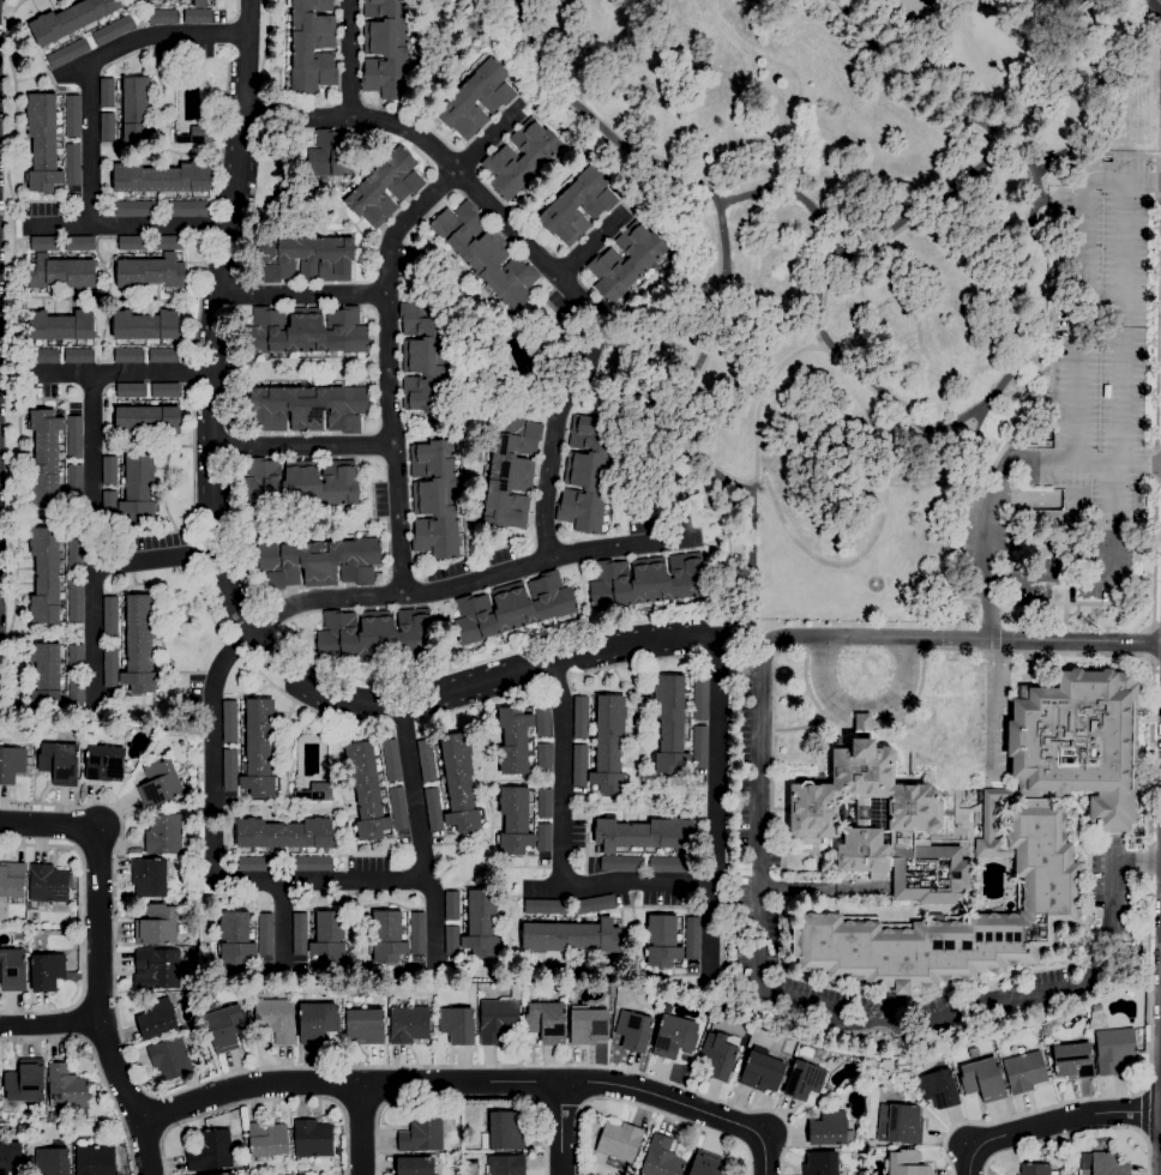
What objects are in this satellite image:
road: (1157, 2)
building: (199, 4)
building: (162, 17)
building: (197, 17)
building: (71, 19)
building: (113, 31)
road: (1160, 35)
building: (312, 47)
building: (385, 49)
building: (67, 54)
road: (349, 56)
road: (89, 62)
building: (107, 92)
building: (476, 100)
building: (136, 109)
building: (72, 116)
building: (107, 127)
building: (195, 137)
road: (487, 139)
building: (42, 144)
building: (331, 156)
building: (519, 159)
building: (72, 164)
road: (1035, 175)
building: (161, 179)
building: (384, 188)
building: (578, 206)
road: (788, 207)
building: (136, 209)
building: (186, 209)
road: (127, 225)
building: (44, 243)
building: (132, 243)
building: (166, 243)
building: (79, 245)
road: (595, 248)
road: (537, 251)
road: (850, 252)
building: (485, 255)
park: (848, 257)
building: (305, 258)
building: (625, 261)
building: (150, 272)
building: (60, 273)
road: (1077, 283)
road: (300, 294)
road: (729, 297)
road: (1018, 302)
road: (10, 319)
building: (60, 326)
building: (144, 326)
building: (306, 331)
building: (43, 343)
building: (43, 356)
building: (78, 356)
building: (127, 356)
building: (162, 356)
building: (423, 356)
road: (386, 369)
road: (122, 374)
building: (525, 375)
building: (130, 391)
building: (164, 391)
building: (131, 403)
building: (162, 403)
building: (308, 408)
road: (768, 408)
road: (1156, 410)
building: (148, 422)
building: (74, 436)
parking lot: (1082, 439)
road: (1121, 442)
road: (301, 446)
building: (44, 457)
road: (1025, 460)
building: (109, 471)
building: (510, 471)
building: (586, 472)
building: (300, 483)
building: (74, 486)
building: (138, 489)
building: (434, 500)
building: (109, 506)
road: (91, 543)
building: (74, 550)
road: (154, 560)
building: (319, 562)
road: (221, 568)
building: (44, 576)
road: (469, 578)
building: (648, 582)
building: (74, 601)
building: (512, 608)
road: (989, 609)
building: (110, 619)
road: (729, 619)
building: (375, 634)
road: (961, 638)
building: (140, 644)
road: (1150, 644)
road: (1133, 656)
building: (74, 658)
building: (110, 668)
building: (44, 676)
building: (76, 694)
building: (699, 699)
road: (862, 716)
building: (580, 717)
building: (229, 722)
building: (862, 722)
building: (542, 723)
building: (670, 724)
building: (116, 734)
building: (513, 740)
building: (608, 745)
building: (698, 747)
building: (259, 749)
building: (543, 757)
building: (390, 760)
building: (426, 761)
building: (59, 764)
building: (103, 764)
road: (760, 764)
building: (12, 765)
building: (579, 766)
building: (229, 771)
building: (458, 783)
building: (162, 785)
building: (366, 791)
building: (315, 793)
building: (545, 803)
building: (397, 809)
building: (433, 809)
building: (513, 821)
road: (48, 825)
building: (283, 834)
building: (644, 834)
building: (167, 836)
building: (543, 838)
building: (973, 840)
building: (621, 863)
building: (255, 864)
building: (309, 864)
building: (669, 864)
building: (149, 878)
building: (12, 880)
road: (275, 881)
road: (643, 881)
building: (47, 884)
road: (800, 888)
road: (543, 890)
building: (451, 905)
building: (594, 905)
building: (28, 906)
building: (545, 906)
road: (433, 920)
road: (282, 924)
building: (481, 924)
building: (155, 926)
road: (82, 927)
road: (709, 928)
building: (416, 934)
building: (265, 935)
building: (300, 935)
building: (570, 936)
building: (235, 938)
building: (329, 938)
building: (387, 938)
building: (692, 939)
building: (452, 941)
building: (661, 941)
building: (12, 970)
building: (156, 970)
building: (47, 971)
building: (380, 990)
road: (100, 1005)
building: (246, 1007)
building: (251, 1007)
road: (961, 1010)
building: (499, 1018)
building: (157, 1019)
building: (276, 1019)
building: (546, 1022)
building: (317, 1023)
road: (50, 1024)
building: (408, 1025)
building: (457, 1025)
building: (365, 1026)
building: (588, 1026)
building: (225, 1028)
building: (1046, 1030)
building: (633, 1031)
building: (674, 1037)
building: (1117, 1052)
building: (973, 1053)
building: (718, 1055)
building: (170, 1059)
building: (1073, 1061)
road: (97, 1066)
building: (736, 1066)
road: (290, 1067)
building: (1024, 1072)
building: (760, 1073)
building: (983, 1079)
building: (804, 1080)
building: (25, 1083)
road: (474, 1083)
building: (66, 1089)
building: (939, 1089)
road: (461, 1098)
road: (264, 1101)
road: (644, 1109)
road: (160, 1114)
road: (1142, 1114)
building: (49, 1117)
building: (450, 1125)
road: (1051, 1125)
building: (901, 1126)
building: (22, 1128)
road: (560, 1128)
road: (361, 1129)
building: (830, 1131)
building: (504, 1132)
building: (421, 1133)
road: (1076, 1133)
building: (313, 1138)
building: (266, 1140)
building: (619, 1141)
building: (870, 1143)
building: (210, 1152)
building: (870, 1152)
building: (11, 1158)
building: (661, 1158)
building: (53, 1159)
building: (95, 1161)
building: (820, 1163)
building: (906, 1163)
building: (505, 1164)
building: (706, 1164)
building: (1101, 1164)
building: (415, 1167)
building: (1035, 1169)
building: (227, 1174)

